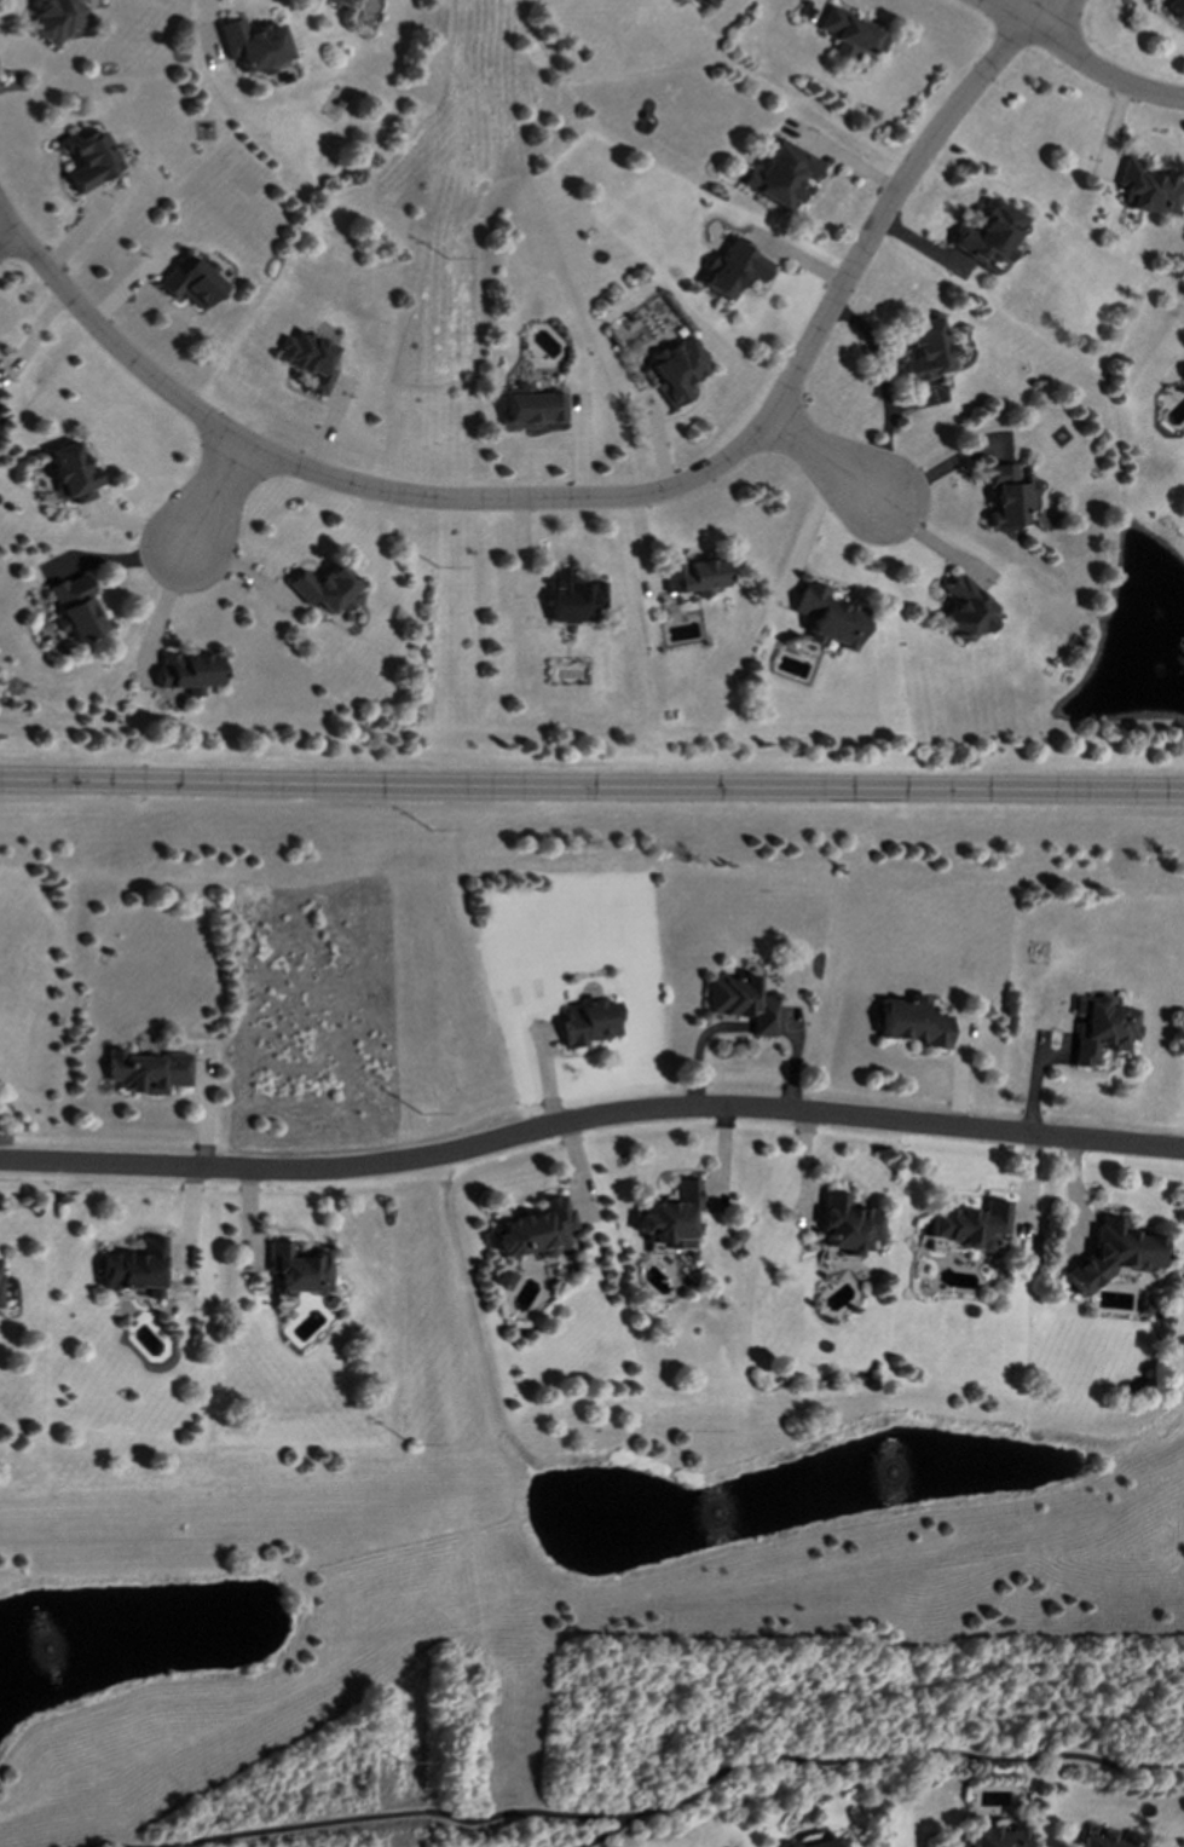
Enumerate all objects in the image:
building: (337, 2)
building: (707, 2)
building: (1174, 8)
road: (1026, 15)
building: (53, 19)
building: (848, 34)
road: (1069, 58)
building: (89, 158)
building: (779, 174)
building: (1145, 190)
building: (987, 233)
road: (8, 244)
building: (730, 269)
building: (190, 283)
building: (925, 352)
building: (308, 360)
building: (676, 369)
road: (884, 391)
building: (530, 408)
road: (828, 463)
building: (70, 473)
building: (1006, 496)
road: (574, 498)
road: (219, 503)
building: (691, 577)
building: (324, 589)
building: (571, 598)
building: (75, 608)
building: (963, 610)
building: (826, 617)
building: (186, 673)
road: (591, 789)
road: (591, 789)
building: (739, 1003)
building: (911, 1022)
building: (588, 1023)
building: (1098, 1028)
building: (145, 1072)
road: (590, 1121)
building: (669, 1217)
building: (844, 1224)
building: (966, 1224)
building: (532, 1230)
building: (1108, 1256)
building: (133, 1269)
building: (295, 1270)
building: (502, 1279)
park: (559, 1436)
road: (876, 1760)
park: (753, 1771)
road: (389, 1816)
building: (994, 1836)
building: (1110, 1840)
building: (821, 1843)
road: (115, 1846)

